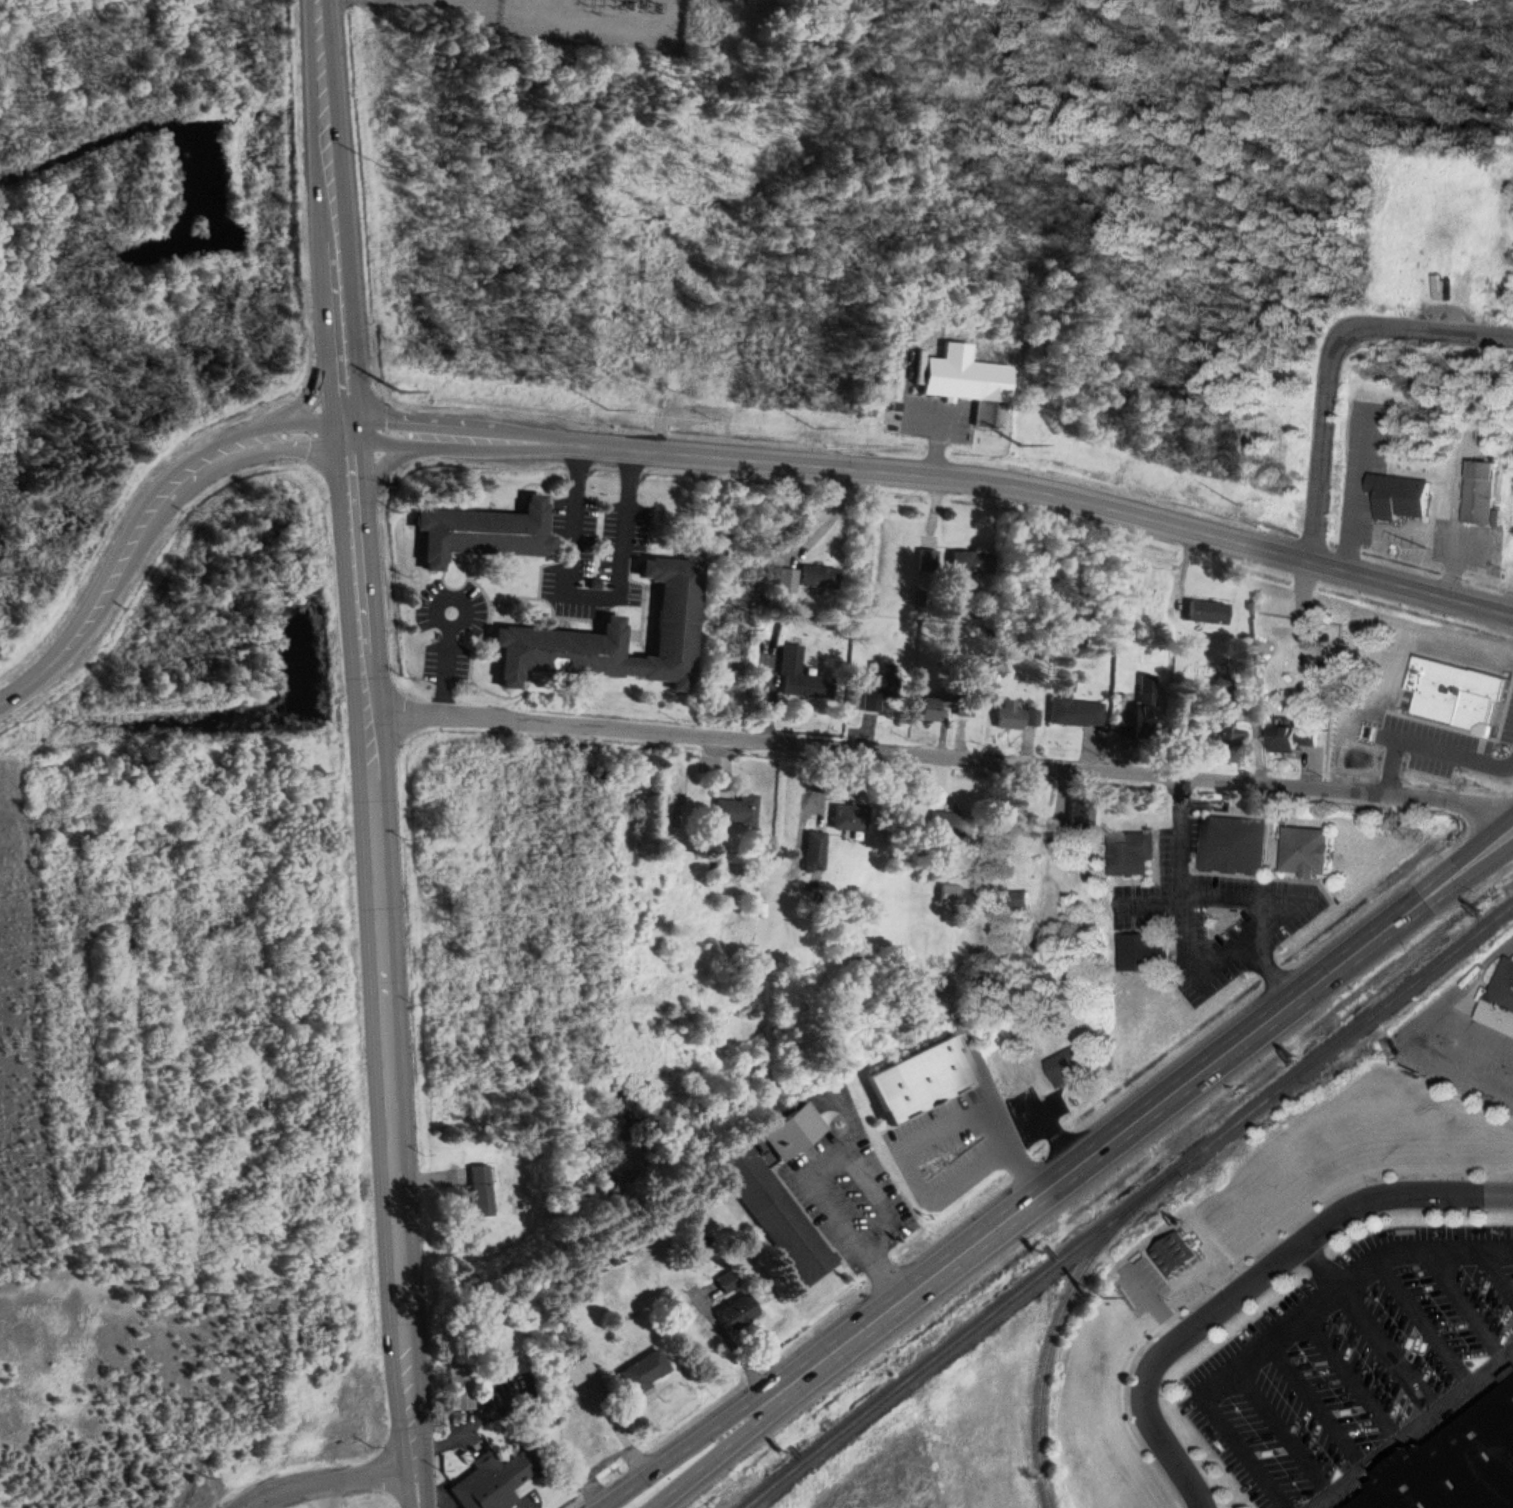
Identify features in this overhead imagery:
power substation: (598, 22)
road: (330, 145)
power tower: (383, 166)
road: (344, 354)
road: (1332, 361)
road: (326, 363)
building: (967, 378)
power tower: (403, 390)
road: (317, 420)
road: (458, 423)
road: (350, 429)
road: (382, 442)
road: (934, 445)
road: (490, 448)
road: (374, 473)
road: (353, 480)
building: (1480, 487)
road: (1349, 489)
road: (1046, 491)
building: (1405, 504)
power tower: (401, 511)
road: (159, 518)
road: (129, 524)
building: (486, 532)
building: (928, 560)
building: (967, 561)
road: (1450, 567)
building: (820, 576)
building: (788, 579)
building: (1209, 611)
building: (616, 635)
power tower: (408, 676)
building: (803, 676)
building: (880, 688)
building: (1459, 691)
road: (13, 696)
building: (1149, 705)
building: (935, 707)
building: (1077, 712)
building: (1013, 714)
building: (1033, 717)
building: (1226, 725)
building: (1294, 737)
building: (1370, 741)
road: (1428, 748)
road: (941, 755)
building: (737, 809)
building: (1083, 815)
building: (850, 816)
building: (953, 825)
road: (1180, 837)
power tower: (409, 840)
building: (1234, 842)
building: (815, 850)
building: (1308, 851)
road: (1467, 852)
building: (1133, 853)
road: (1470, 873)
building: (950, 894)
road: (1219, 898)
road: (1148, 900)
building: (1147, 950)
building: (1506, 996)
power tower: (416, 1004)
road: (387, 1013)
road: (1429, 1041)
building: (1070, 1064)
building: (928, 1074)
building: (988, 1115)
road: (1118, 1134)
road: (920, 1136)
road: (1054, 1138)
building: (956, 1139)
power tower: (427, 1151)
road: (815, 1166)
building: (482, 1188)
building: (780, 1188)
railway: (1127, 1205)
building: (1176, 1251)
road: (1498, 1268)
building: (728, 1280)
road: (1252, 1281)
road: (1464, 1301)
road: (1154, 1303)
building: (740, 1310)
road: (1425, 1317)
railway: (1057, 1319)
road: (1371, 1323)
road: (1291, 1325)
parking lot: (1357, 1361)
building: (580, 1369)
building: (646, 1369)
road: (1351, 1376)
building: (460, 1384)
road: (1317, 1403)
power tower: (440, 1422)
road: (1411, 1427)
road: (1281, 1433)
road: (710, 1439)
road: (734, 1439)
building: (1459, 1466)
road: (326, 1475)
building: (497, 1475)
road: (321, 1492)

